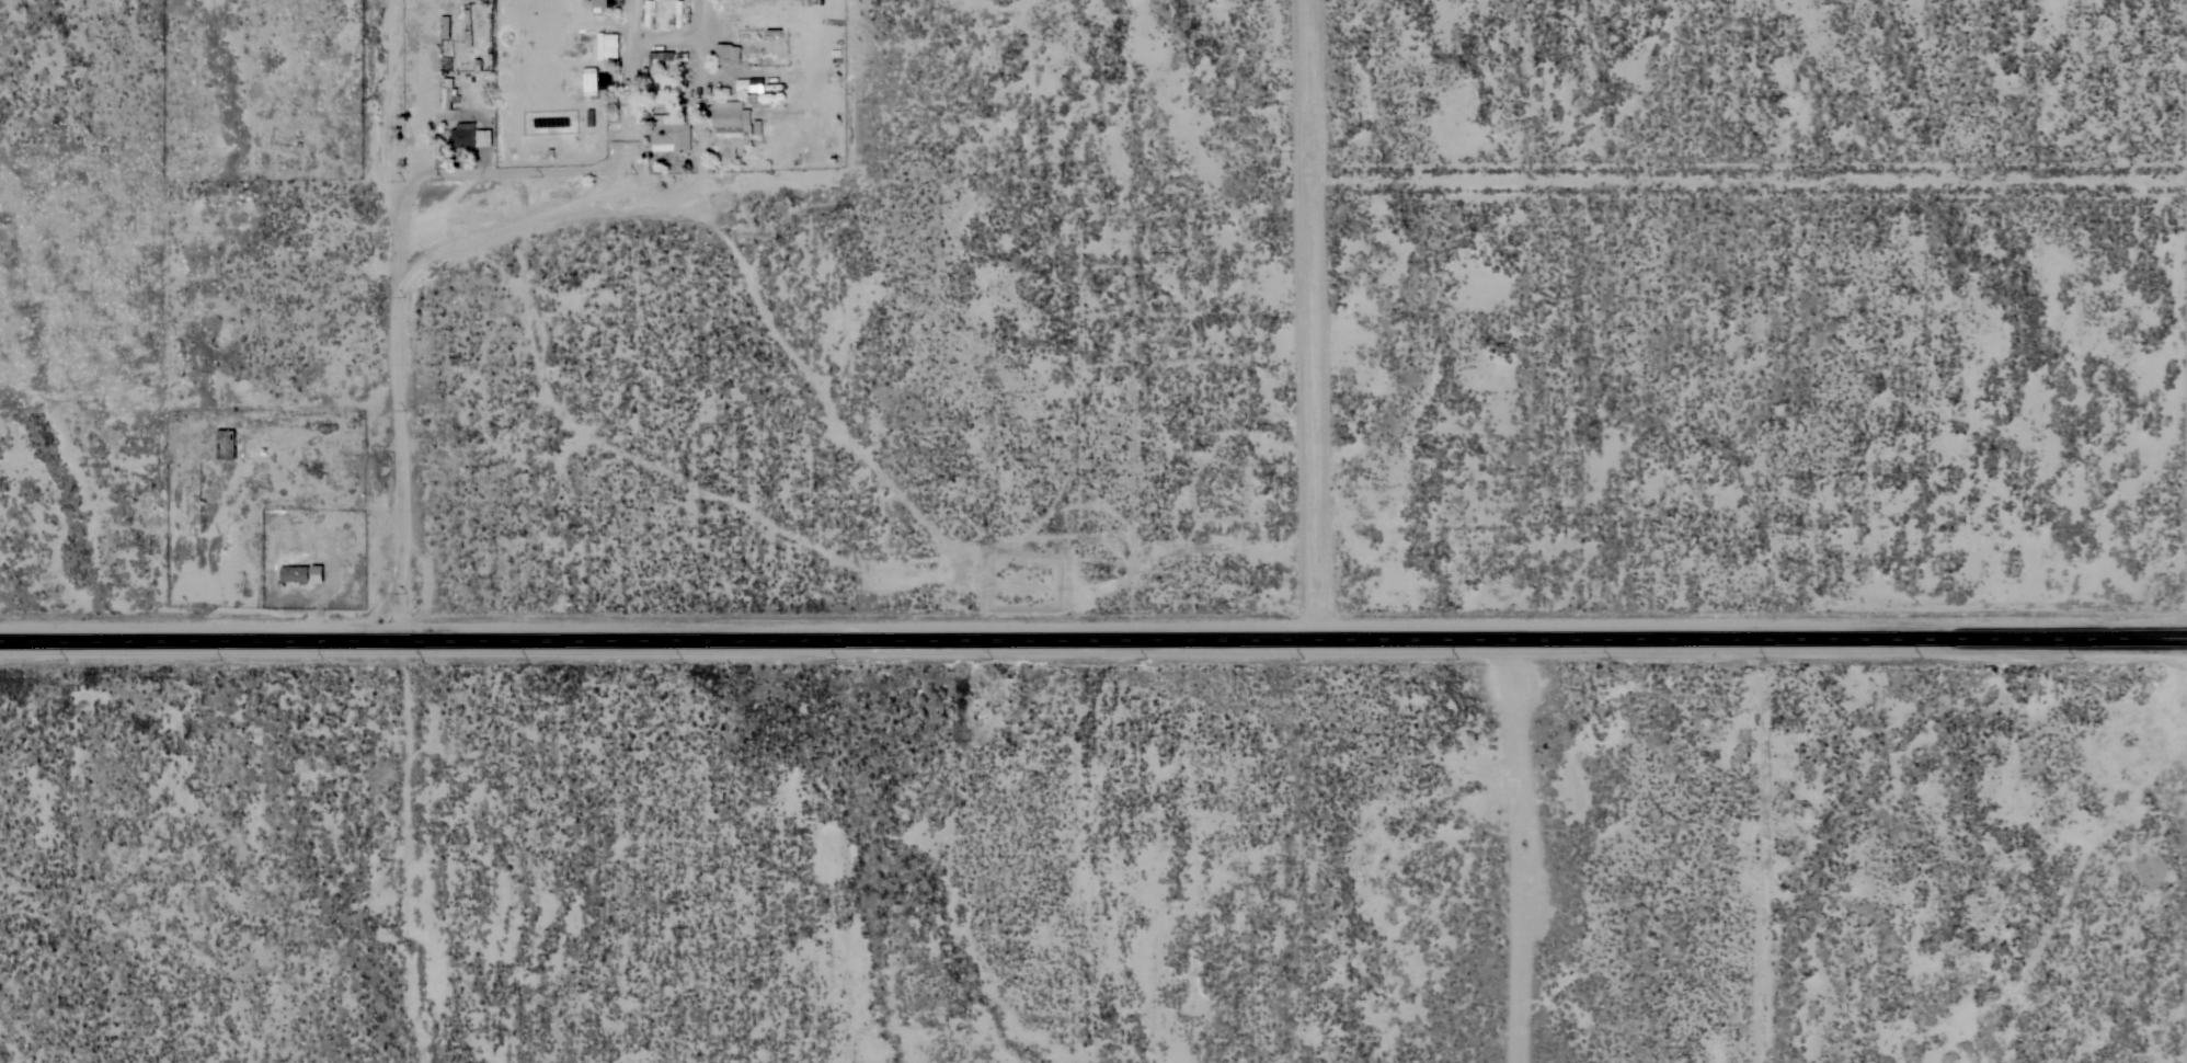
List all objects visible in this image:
building: (599, 5)
building: (649, 13)
building: (679, 13)
building: (466, 24)
building: (446, 27)
building: (607, 46)
building: (728, 54)
building: (661, 59)
building: (589, 81)
building: (749, 84)
building: (448, 93)
building: (731, 117)
building: (671, 133)
building: (463, 135)
building: (483, 137)
road: (597, 193)
road: (1321, 313)
road: (401, 318)
building: (226, 444)
building: (296, 573)
building: (317, 575)
road: (1093, 630)
road: (1521, 846)

